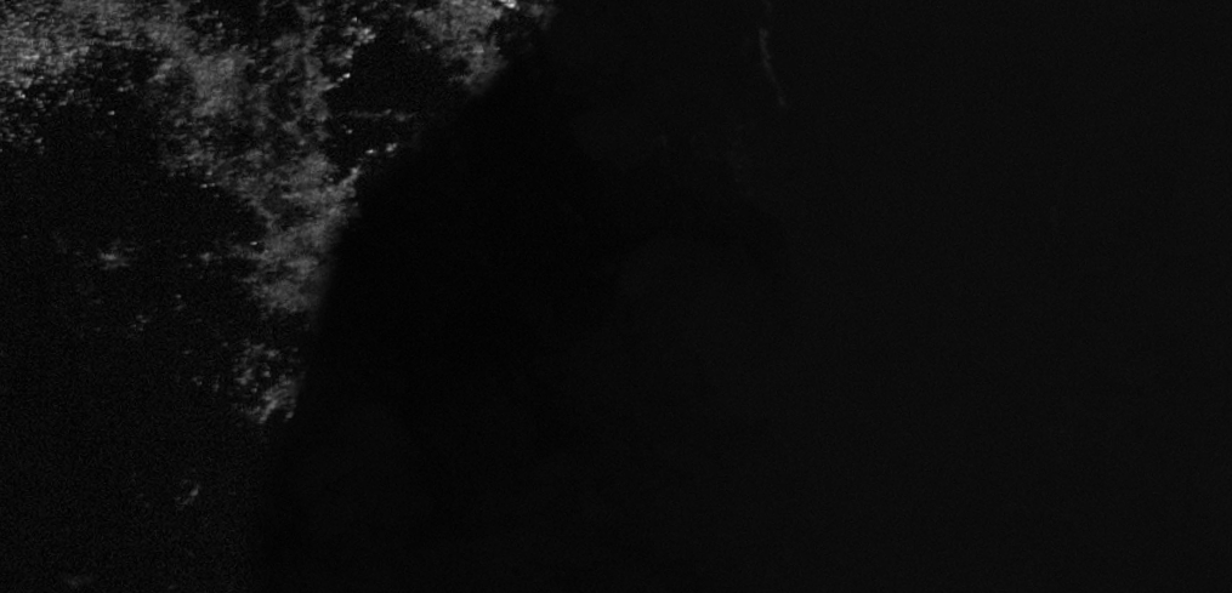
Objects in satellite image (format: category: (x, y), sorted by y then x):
river: (706, 296)

